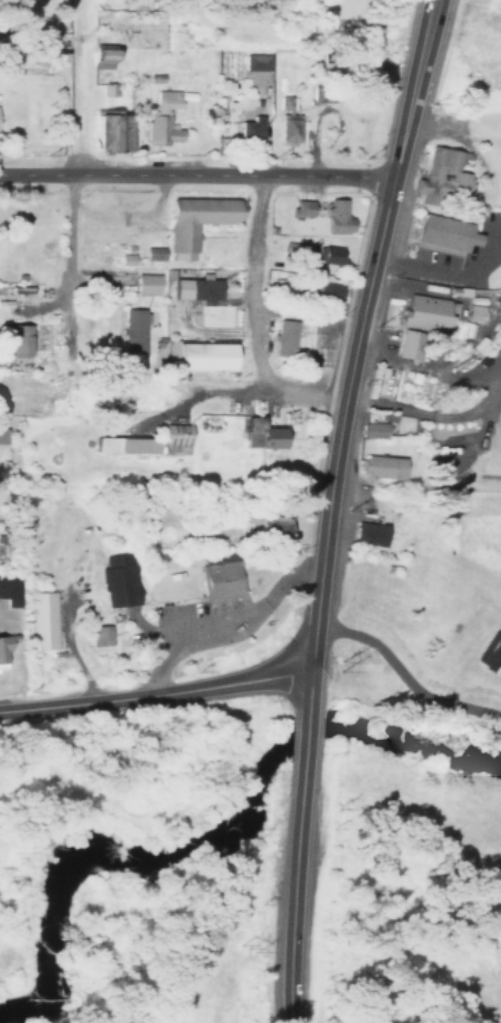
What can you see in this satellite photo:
building: (97, 51)
road: (440, 51)
building: (254, 62)
building: (152, 77)
building: (108, 87)
road: (395, 91)
building: (320, 92)
building: (161, 119)
building: (286, 119)
building: (110, 129)
building: (245, 135)
building: (435, 170)
road: (192, 174)
building: (295, 202)
building: (332, 211)
building: (185, 216)
building: (435, 225)
building: (296, 248)
building: (325, 248)
building: (118, 250)
parking lot: (450, 251)
building: (153, 254)
building: (140, 274)
road: (70, 278)
road: (251, 283)
building: (147, 284)
building: (173, 284)
building: (196, 290)
building: (326, 290)
building: (417, 313)
building: (473, 313)
building: (129, 321)
building: (278, 330)
building: (500, 337)
building: (18, 341)
building: (196, 344)
building: (409, 344)
building: (499, 358)
road: (350, 362)
building: (375, 373)
road: (171, 386)
road: (431, 413)
building: (373, 415)
building: (259, 420)
building: (373, 430)
building: (144, 434)
building: (260, 435)
building: (3, 436)
crop: (475, 455)
building: (378, 458)
building: (362, 525)
building: (268, 527)
building: (353, 557)
building: (112, 569)
building: (217, 570)
building: (8, 592)
road: (215, 611)
building: (32, 612)
parking lot: (209, 616)
road: (212, 633)
building: (100, 635)
road: (443, 640)
building: (4, 647)
building: (490, 653)
road: (406, 675)
road: (153, 690)
road: (301, 760)
river: (218, 834)
road: (291, 905)

